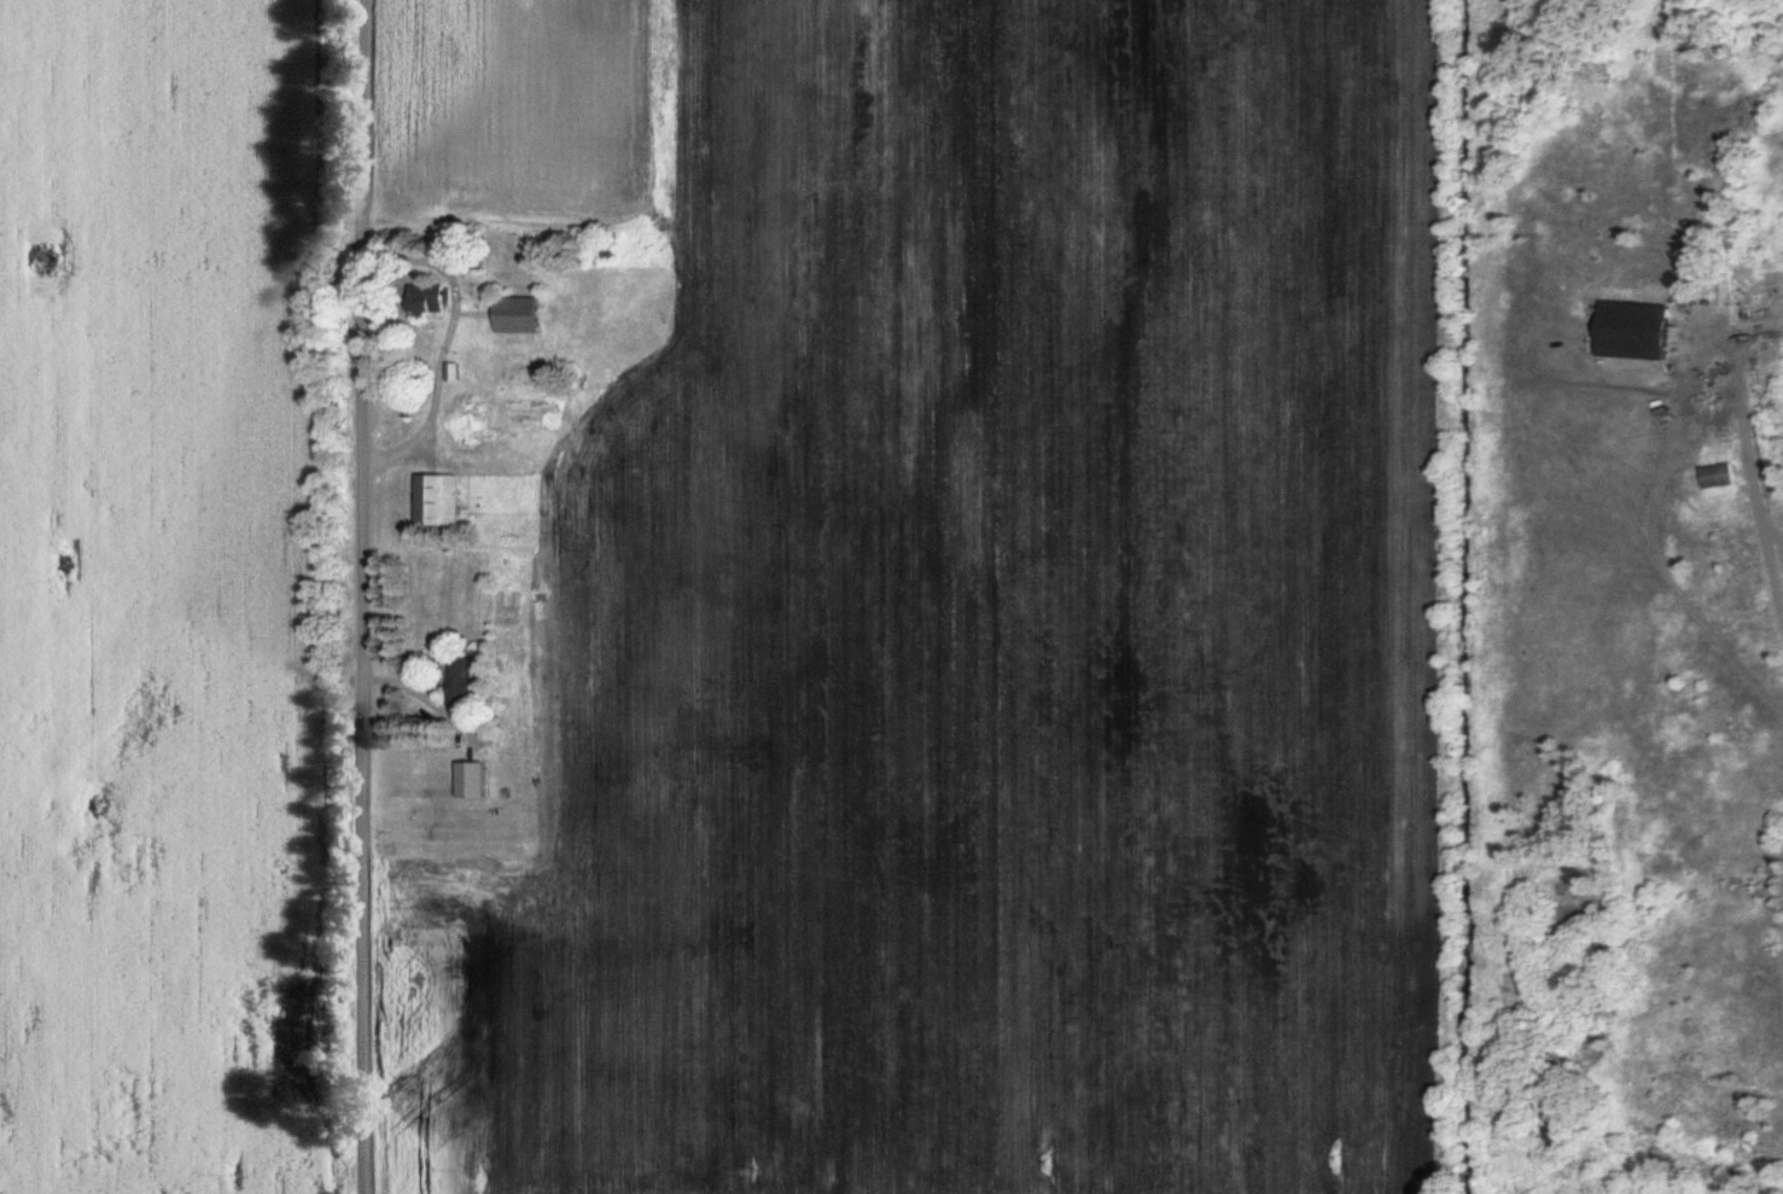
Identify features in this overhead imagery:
building: (1682, 274)
building: (427, 298)
building: (519, 315)
building: (1632, 332)
road: (448, 342)
road: (1753, 472)
building: (438, 502)
road: (363, 596)
building: (465, 683)
building: (472, 781)

